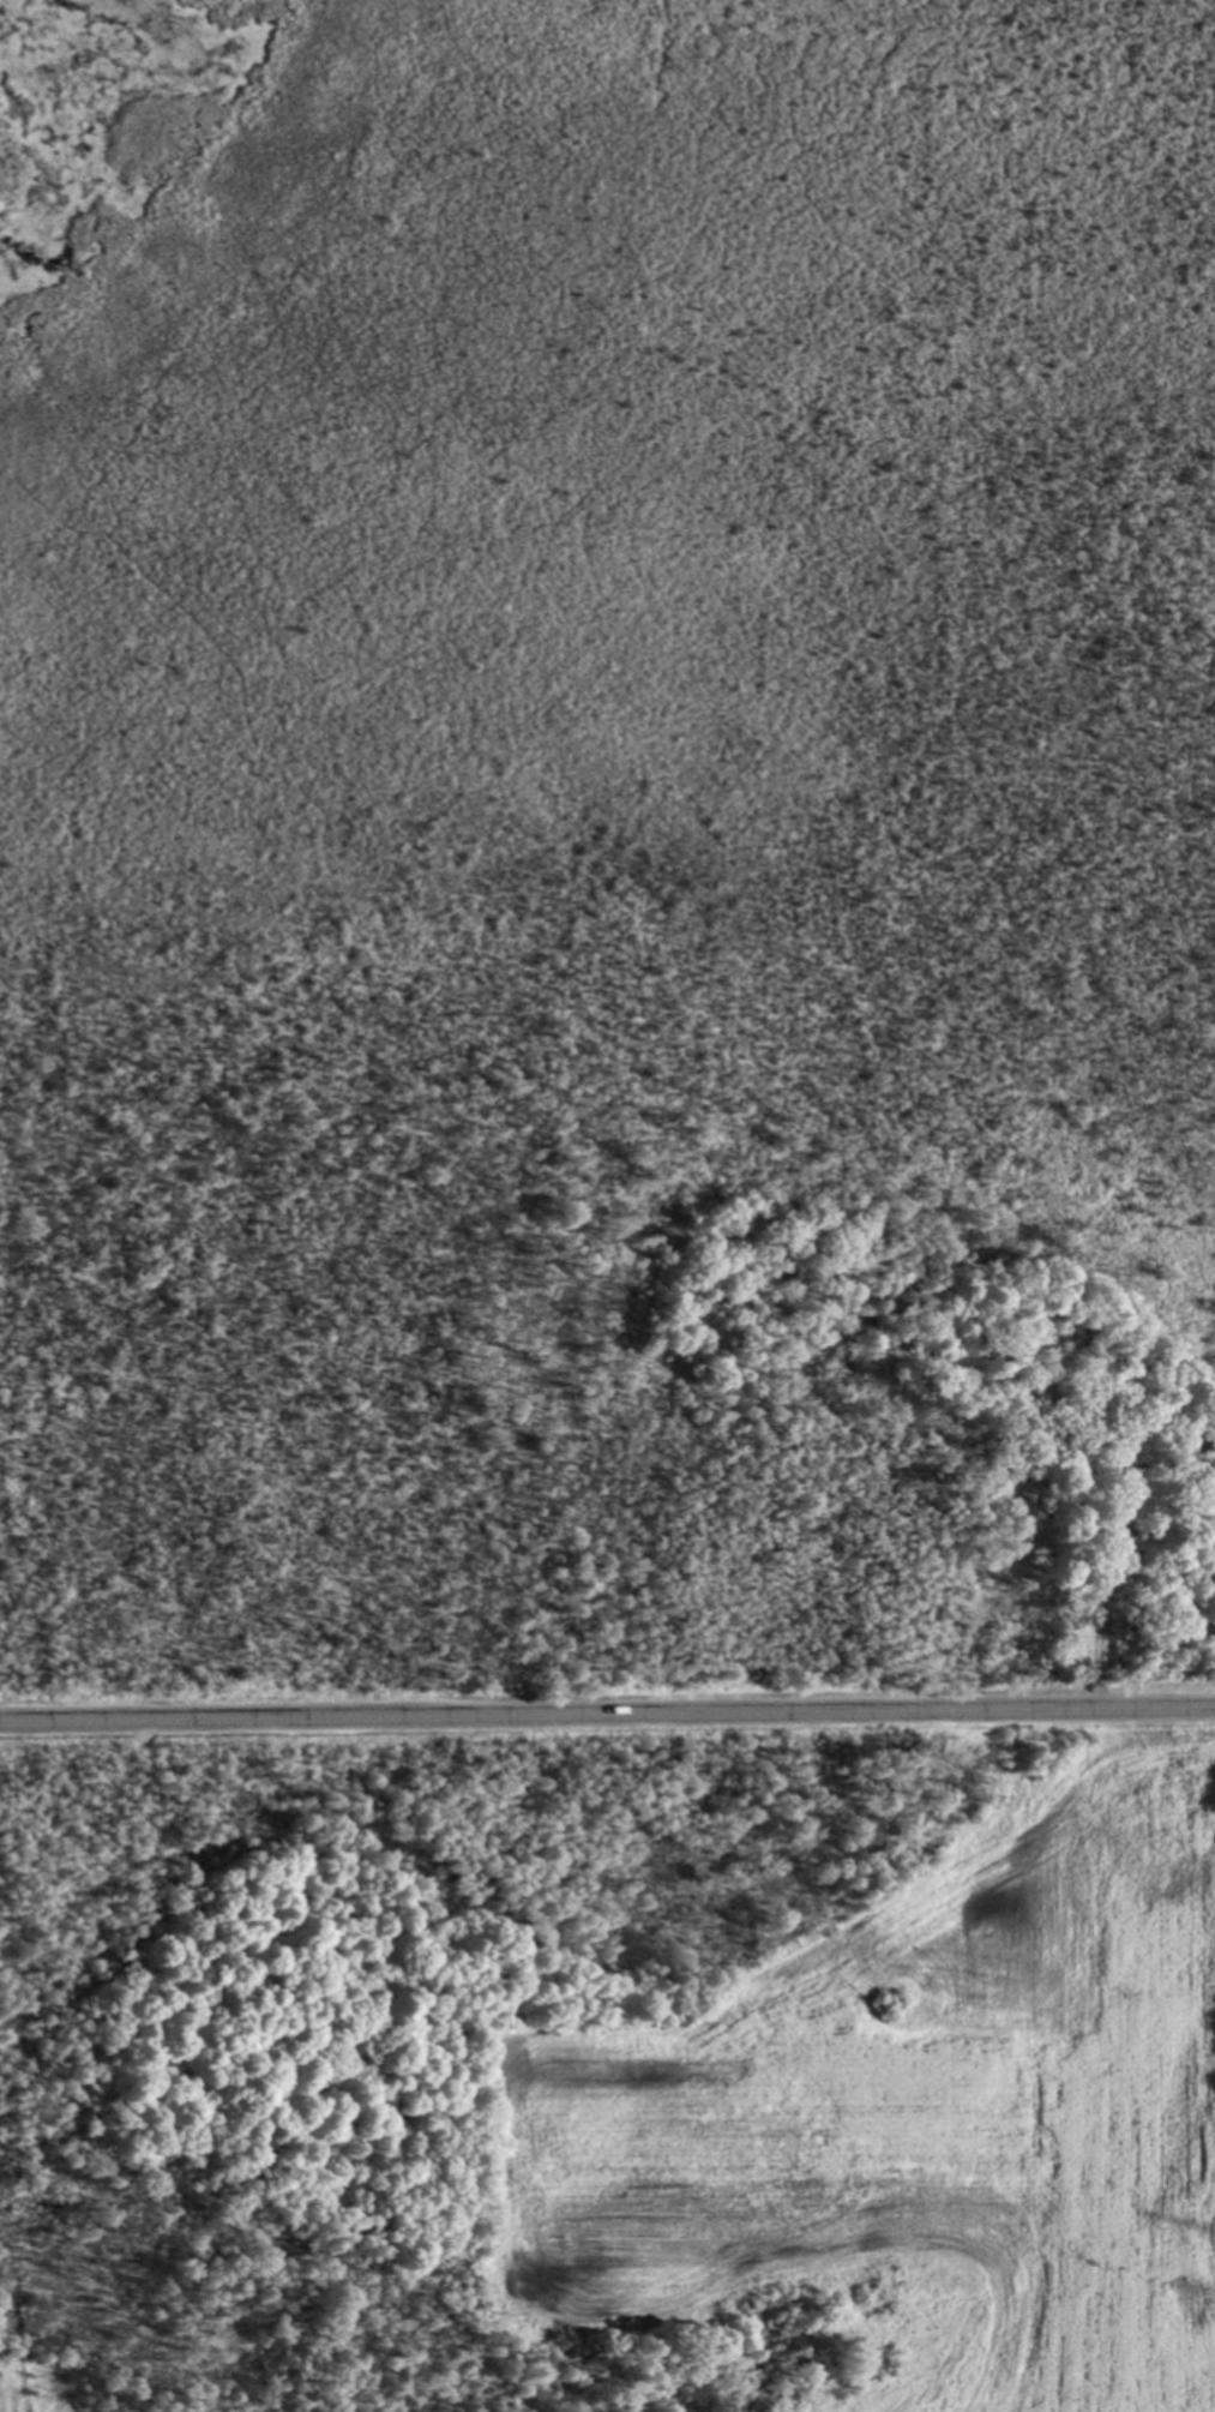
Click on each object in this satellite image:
road: (607, 1711)

